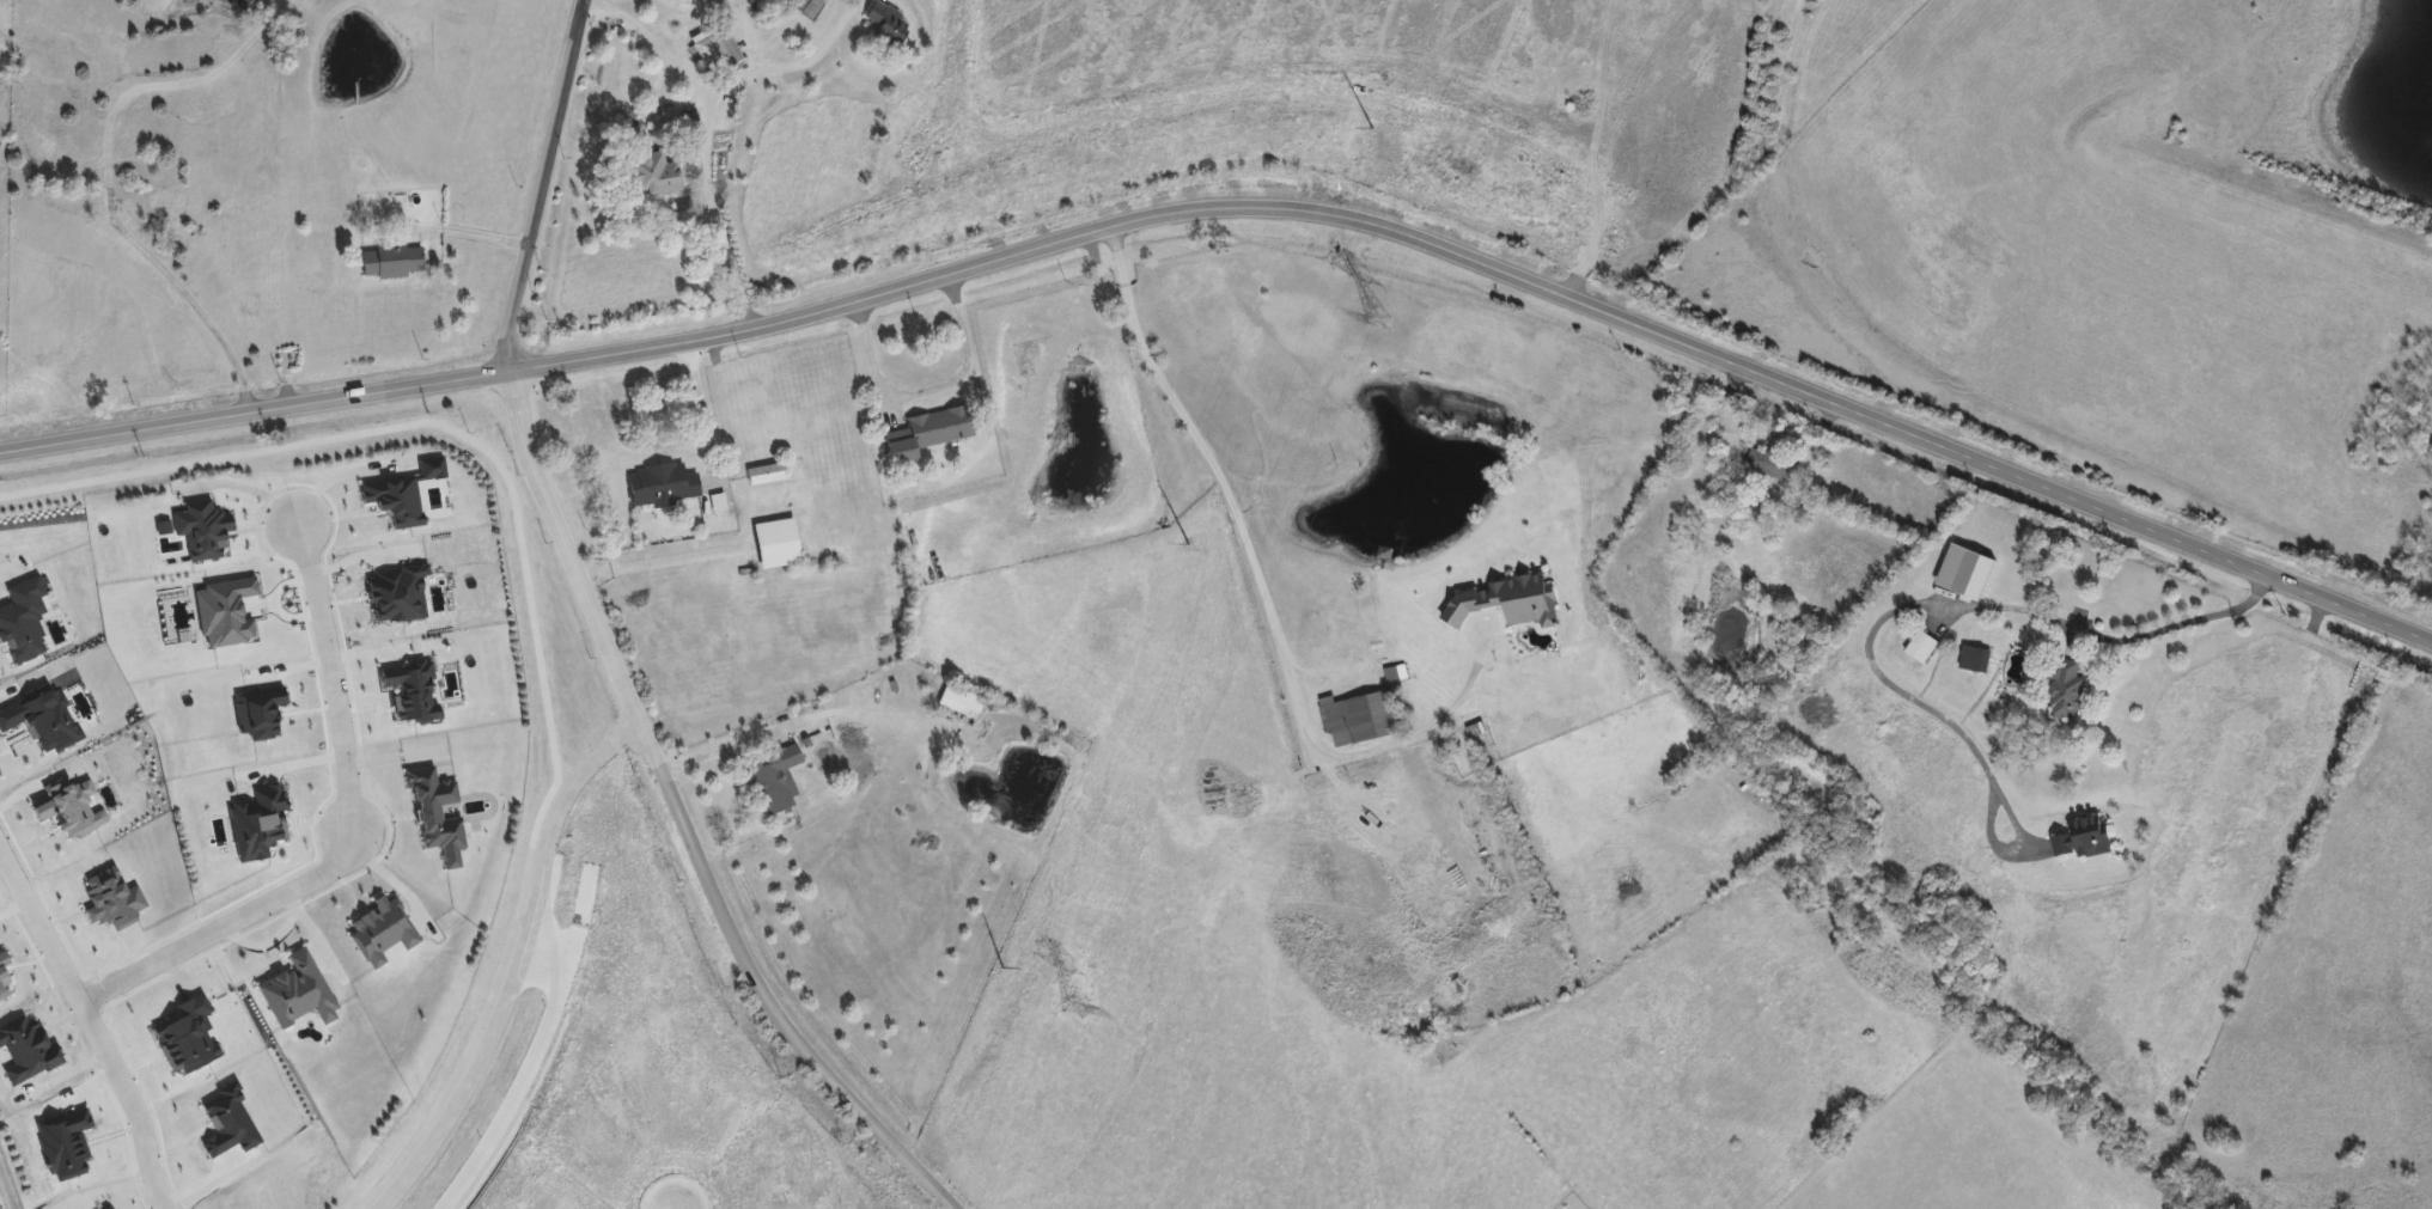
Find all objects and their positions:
building: (885, 24)
building: (715, 54)
road: (791, 63)
road: (707, 136)
power tower: (1371, 145)
building: (646, 169)
road: (547, 185)
road: (1243, 204)
road: (473, 228)
building: (390, 263)
power tower: (1373, 322)
building: (288, 360)
road: (927, 386)
road: (700, 408)
road: (624, 433)
building: (929, 434)
building: (1773, 466)
building: (763, 475)
road: (334, 477)
building: (659, 487)
building: (775, 544)
power tower: (1188, 558)
road: (1261, 584)
road: (1930, 599)
building: (1921, 649)
building: (2066, 692)
building: (961, 703)
building: (1363, 718)
road: (727, 744)
building: (775, 781)
road: (685, 819)
road: (352, 830)
road: (524, 965)
power tower: (1001, 979)
power tower: (1067, 1009)
road: (96, 1020)
road: (525, 1075)

